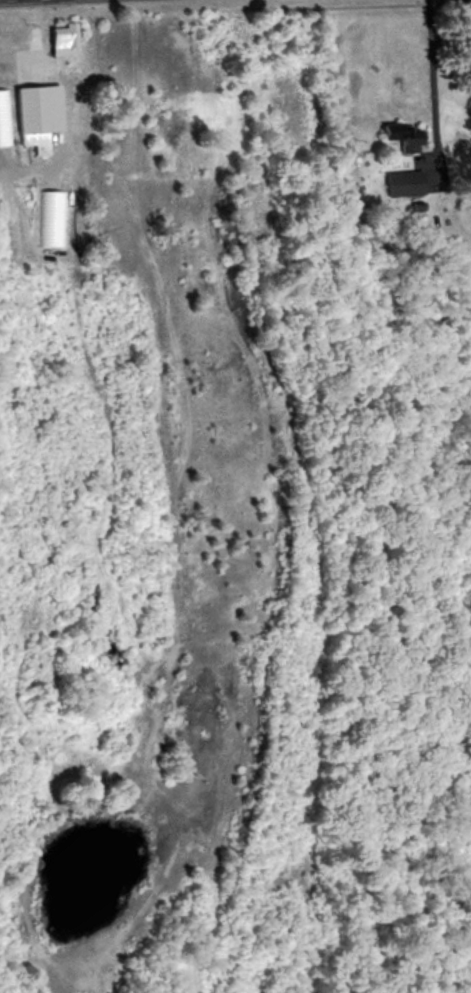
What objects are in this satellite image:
road: (4, 0)
building: (60, 36)
road: (33, 42)
road: (429, 87)
building: (29, 111)
building: (400, 137)
building: (402, 183)
road: (402, 219)

